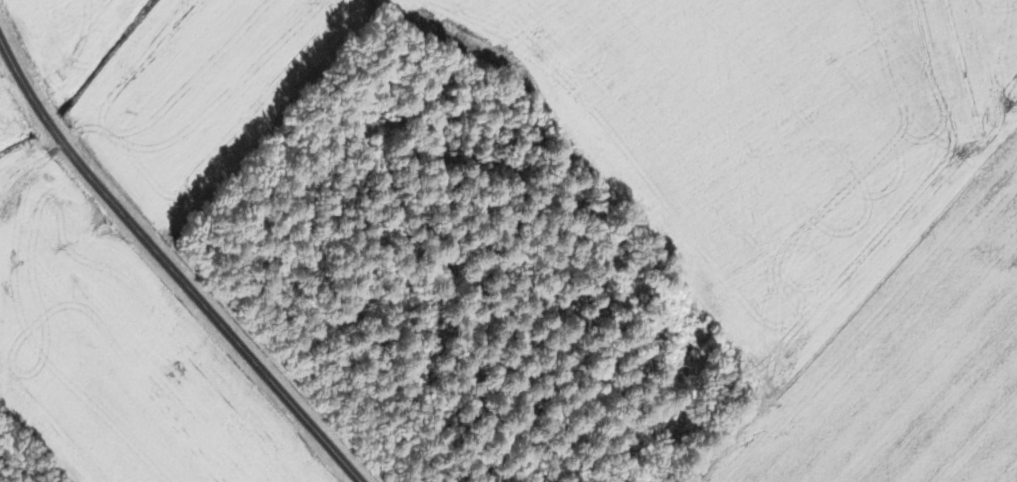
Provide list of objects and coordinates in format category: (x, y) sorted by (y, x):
road: (169, 267)

